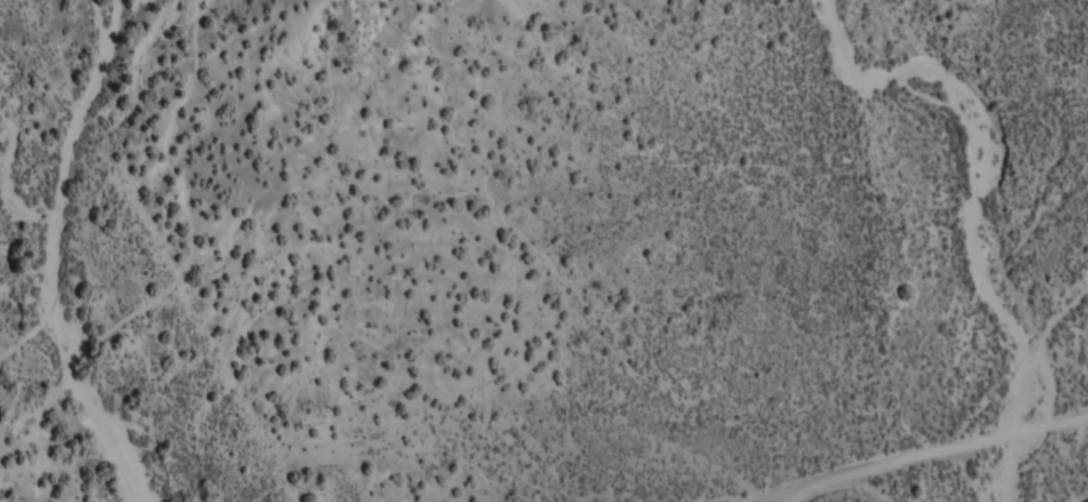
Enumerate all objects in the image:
river: (993, 227)
river: (33, 259)
road: (768, 287)
road: (948, 446)
road: (801, 492)

